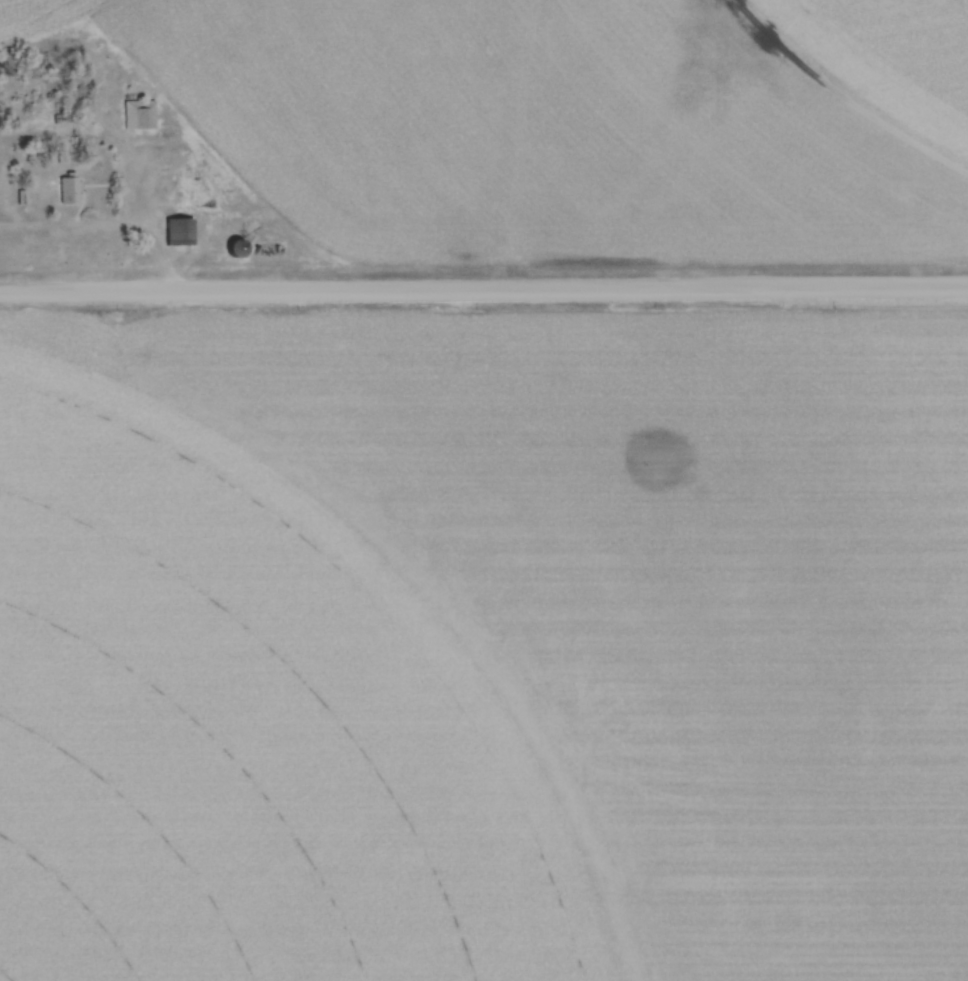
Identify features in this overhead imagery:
building: (138, 110)
building: (66, 187)
road: (145, 218)
building: (175, 226)
building: (232, 243)
silo: (232, 243)
road: (484, 292)

